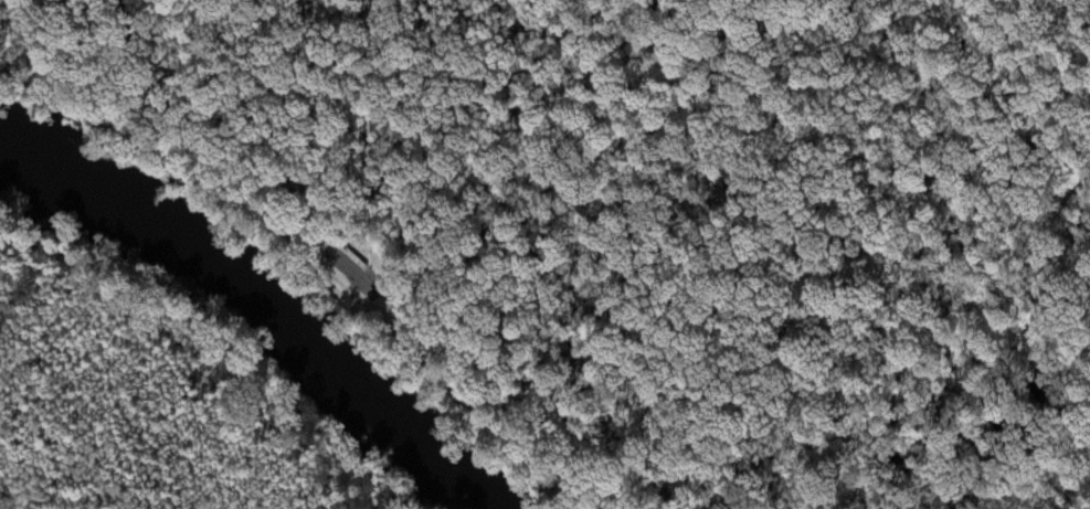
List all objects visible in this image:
river: (262, 308)

